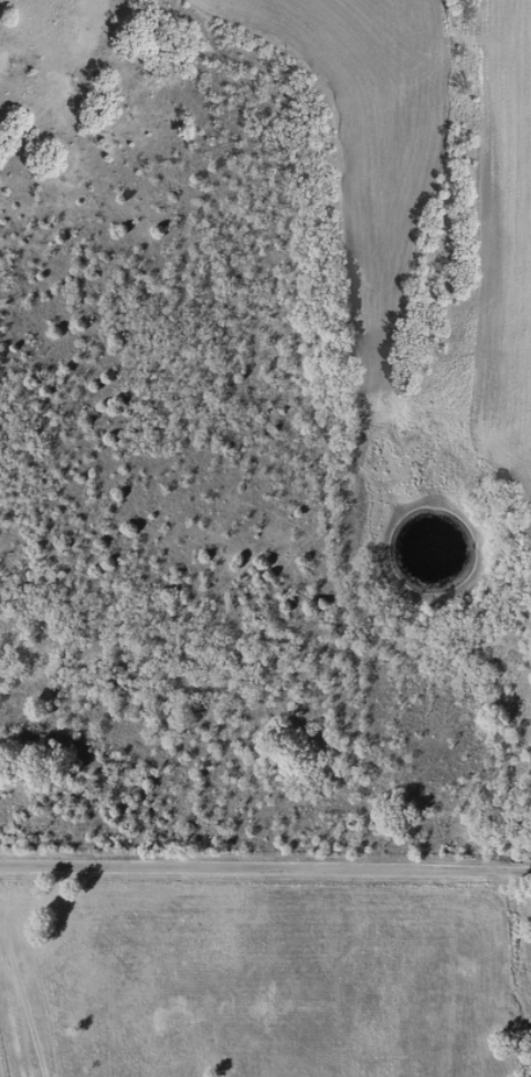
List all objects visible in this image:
road: (265, 885)

